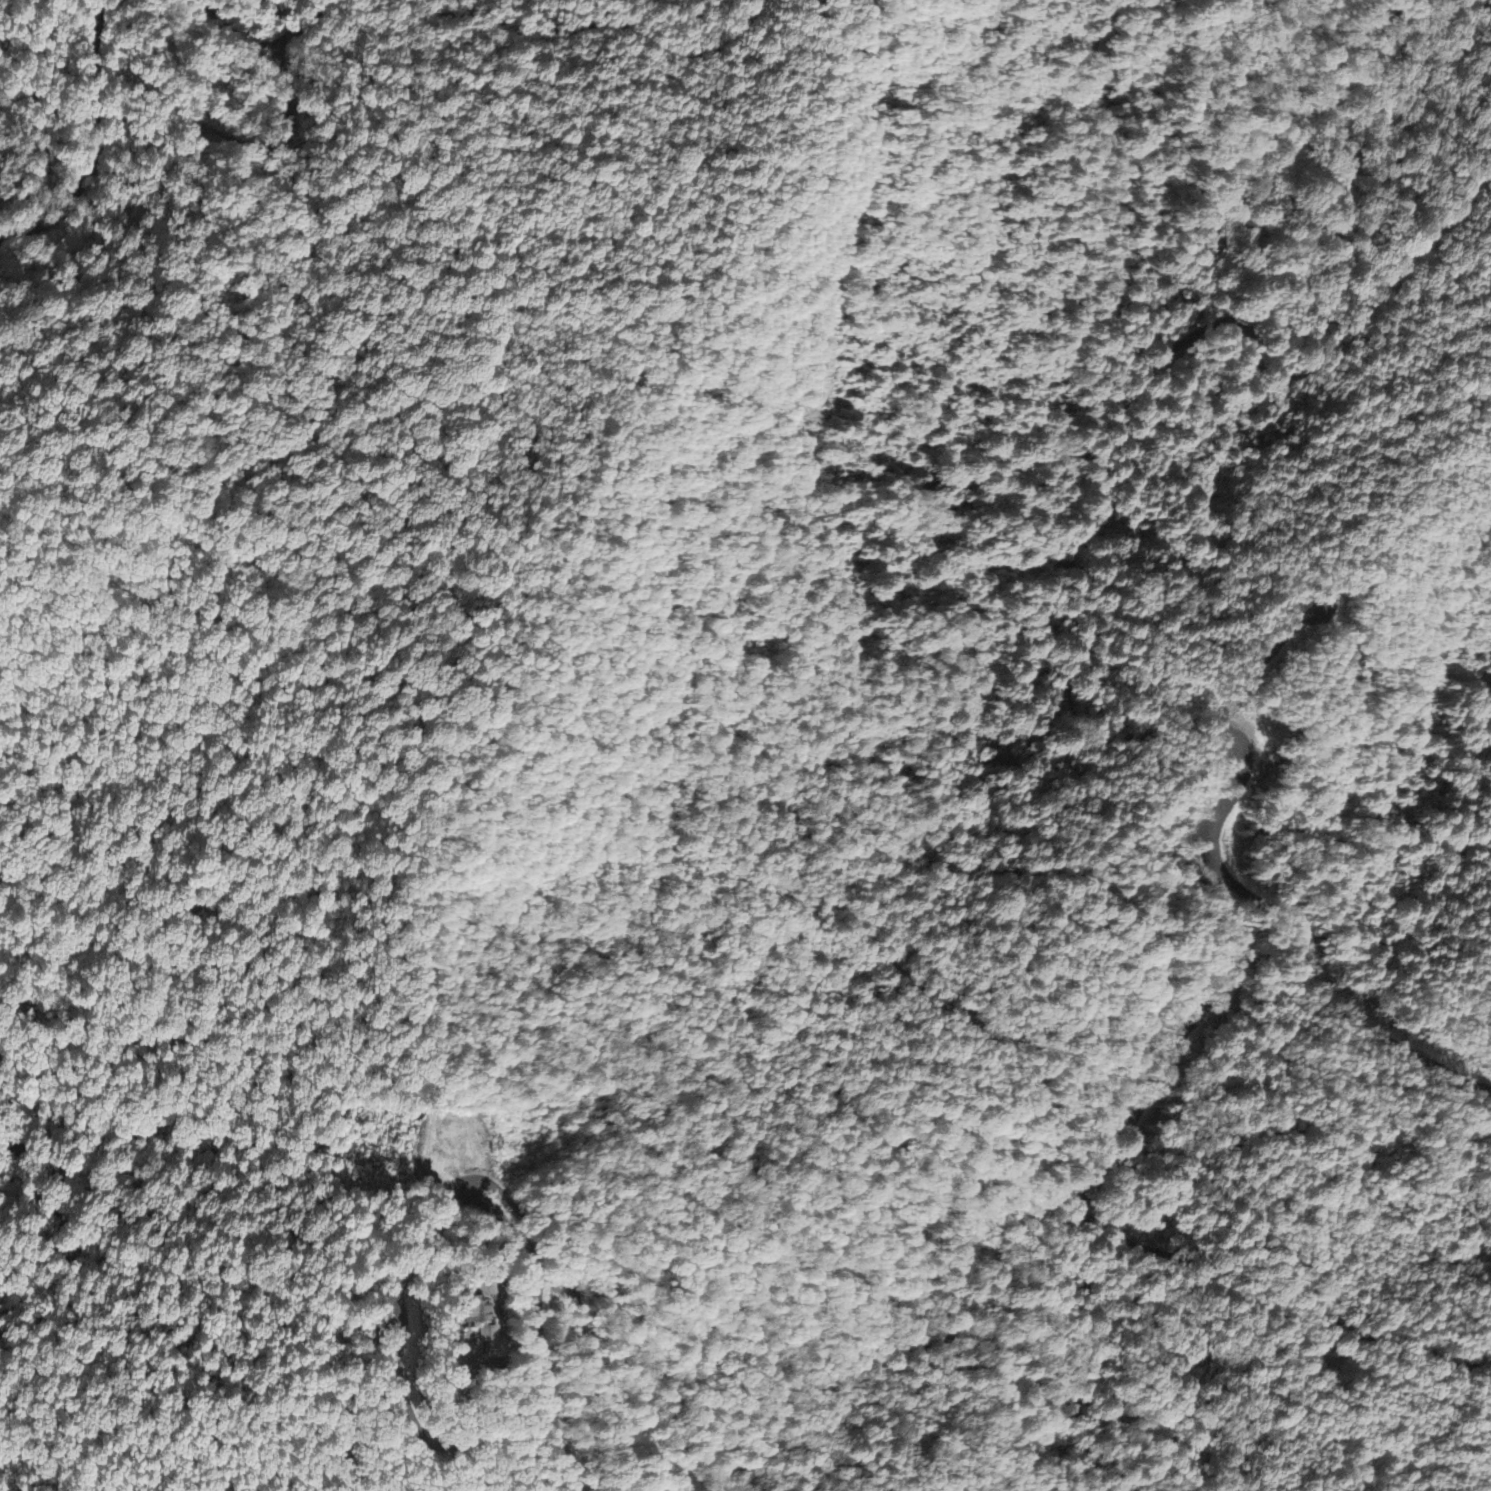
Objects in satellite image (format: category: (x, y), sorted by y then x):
road: (588, 26)
road: (264, 44)
road: (96, 143)
road: (1188, 339)
road: (1284, 447)
road: (1199, 707)
road: (917, 858)
road: (496, 1185)
road: (536, 1326)

